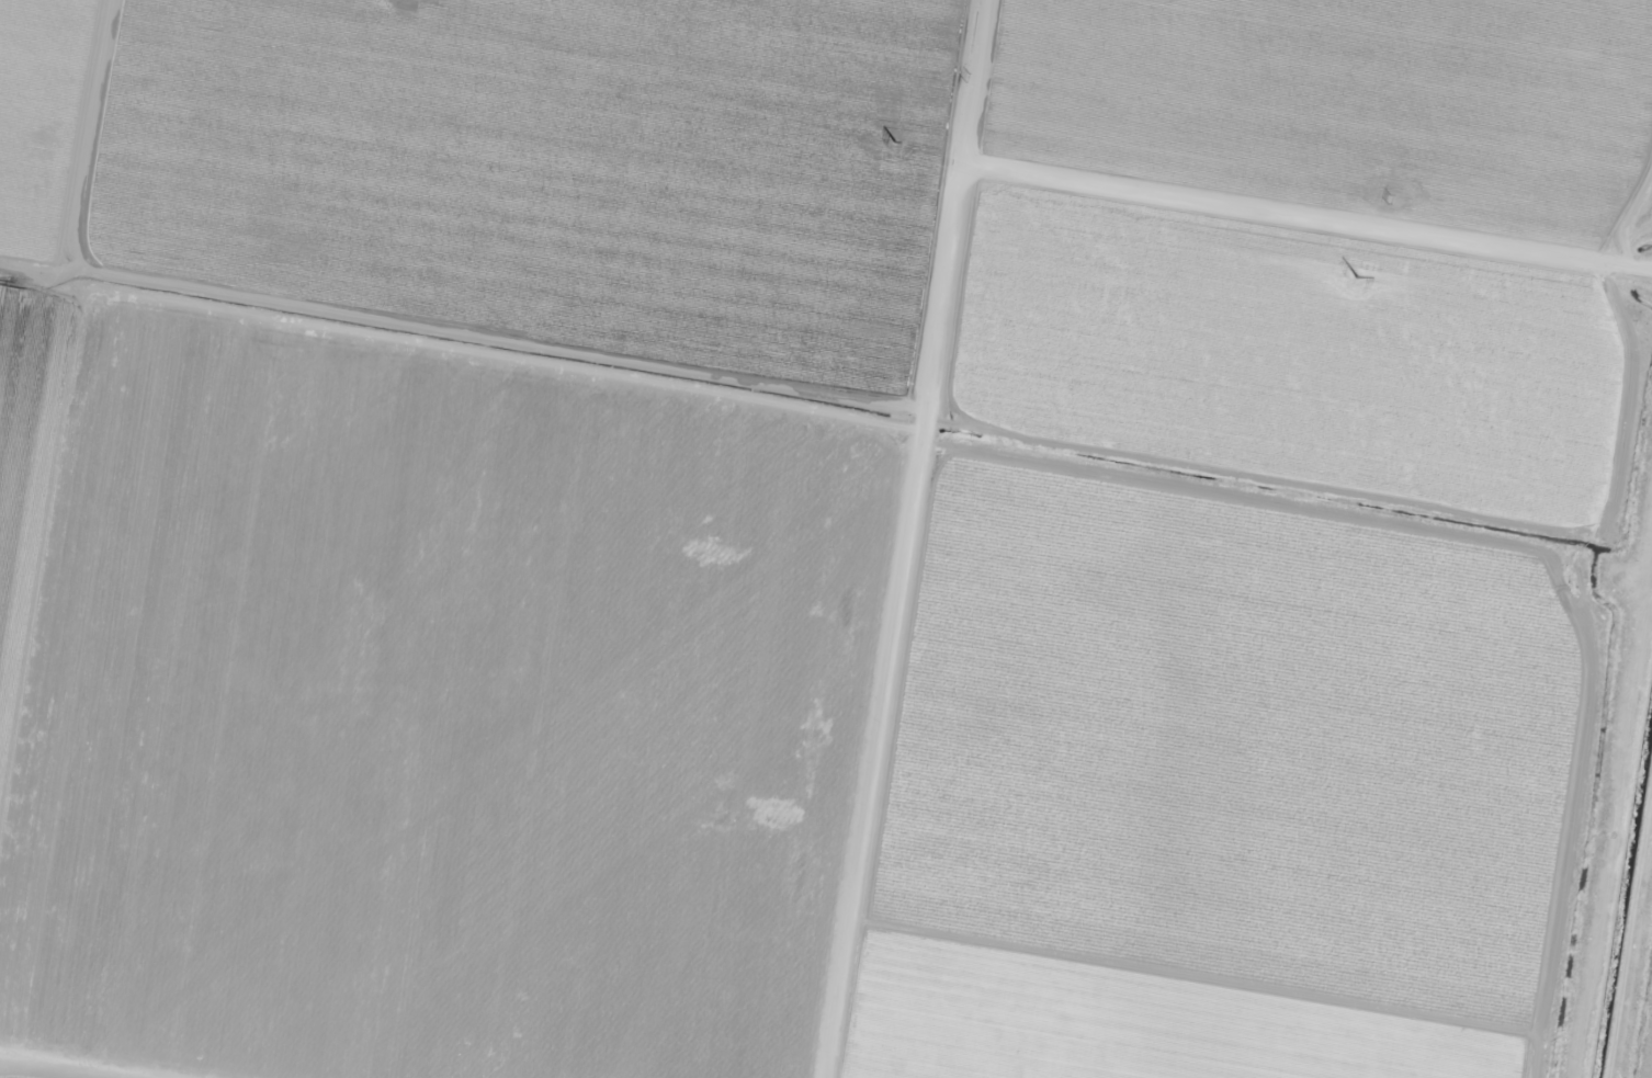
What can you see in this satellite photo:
power tower: (968, 78)
power tower: (894, 140)
power tower: (1389, 201)
road: (1321, 219)
power tower: (1358, 276)
road: (930, 540)
road: (1648, 1055)
road: (34, 1073)

